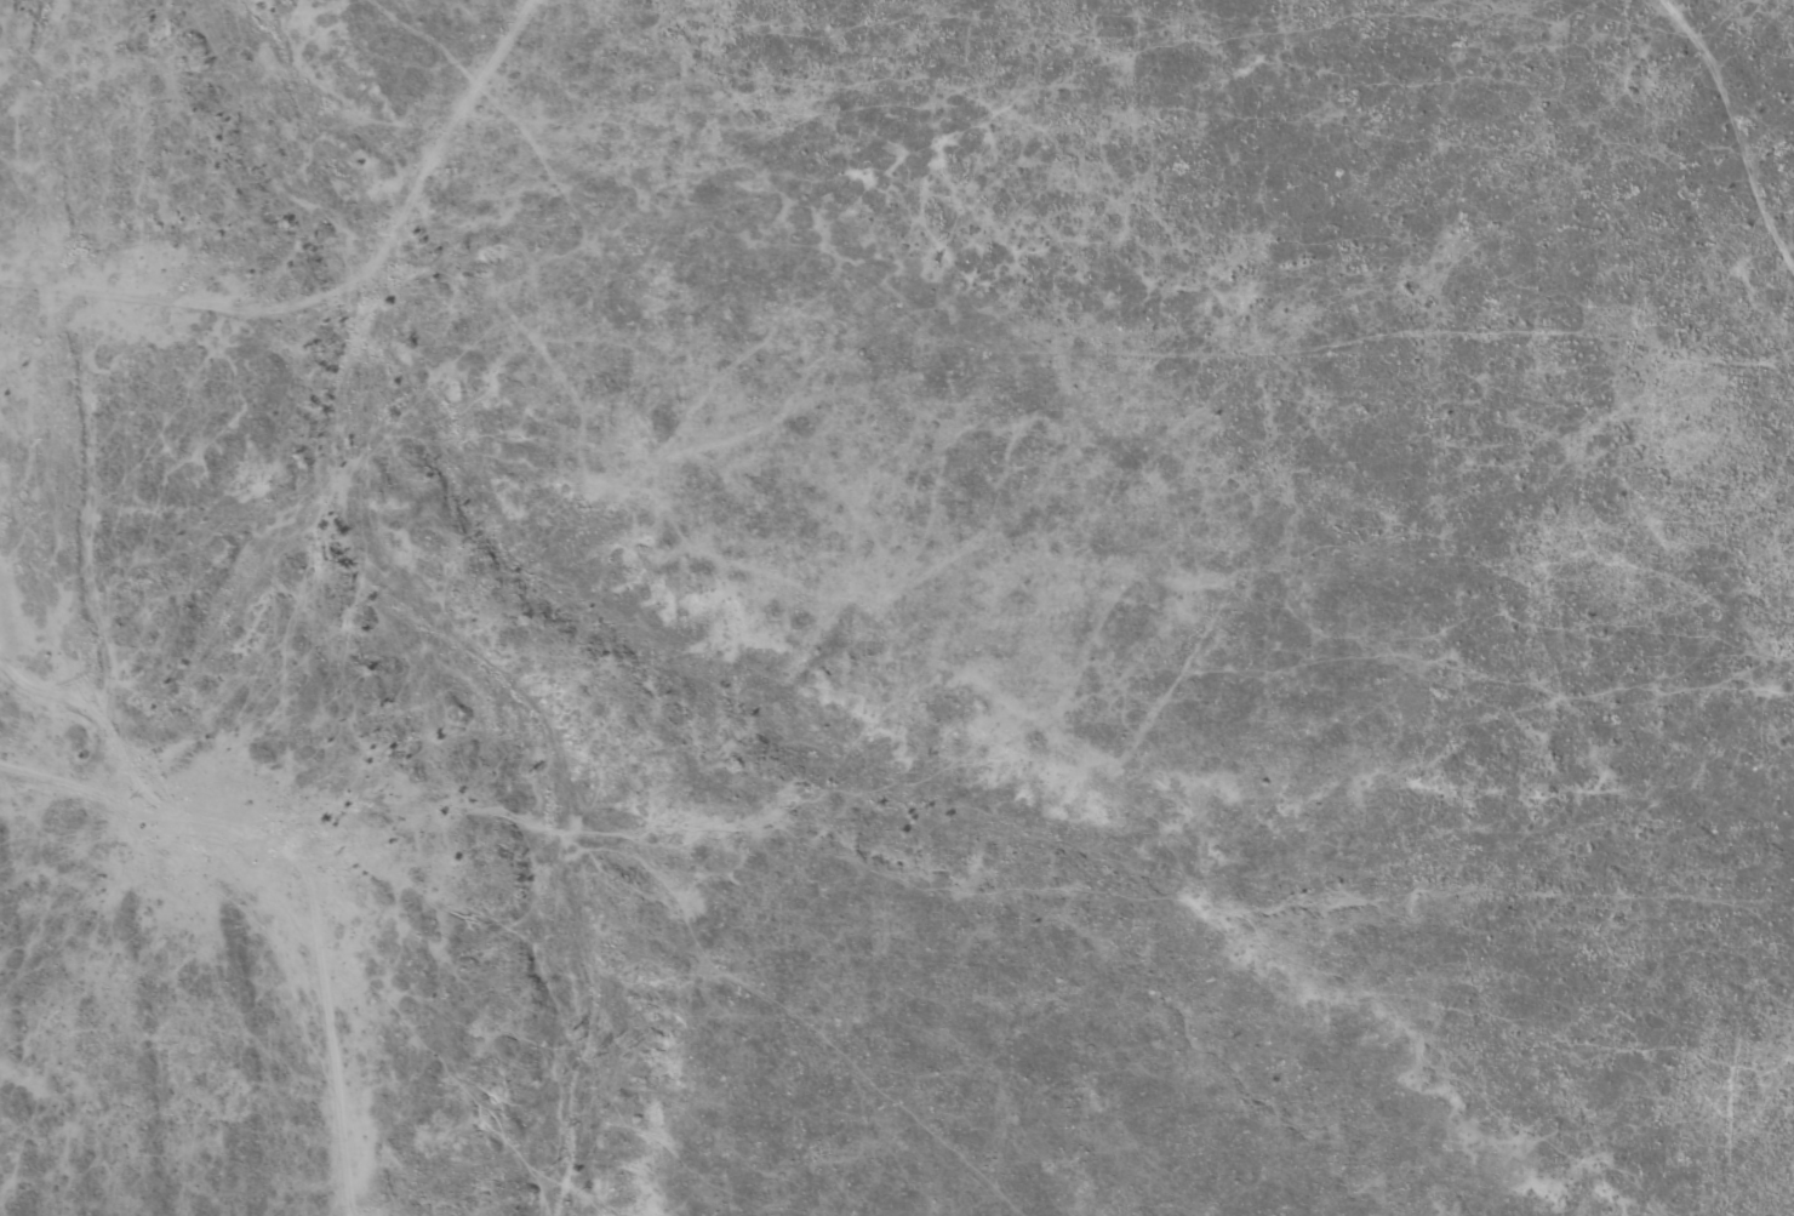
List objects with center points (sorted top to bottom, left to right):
road: (1702, 130)
road: (318, 255)
road: (164, 798)

